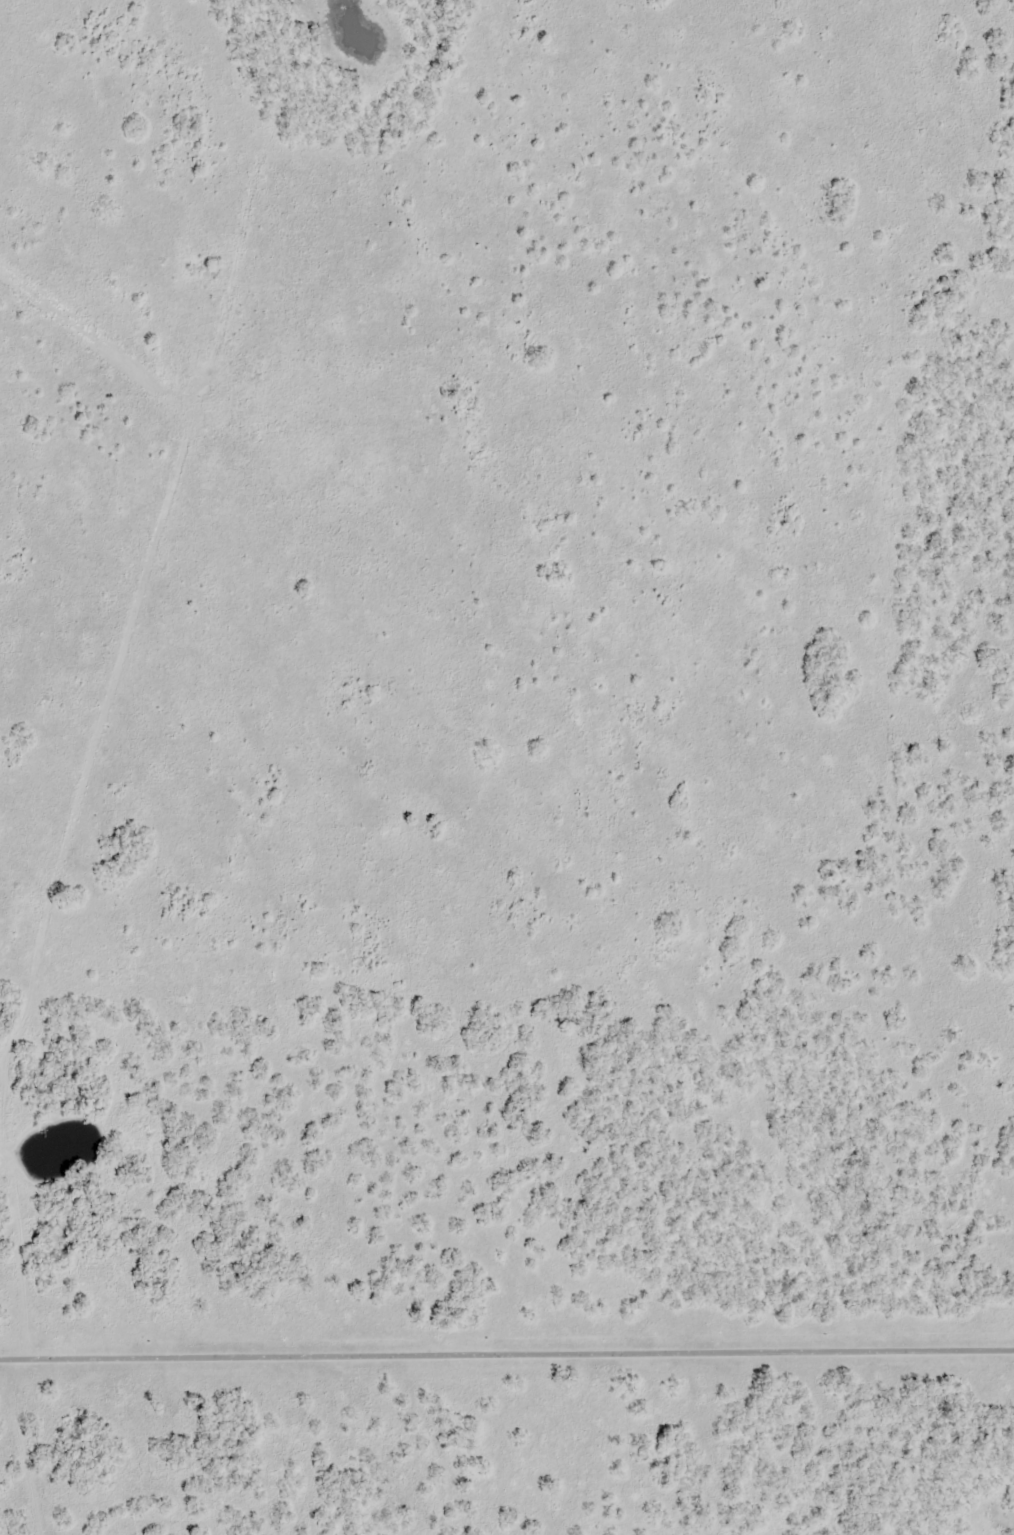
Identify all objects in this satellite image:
road: (507, 1315)

